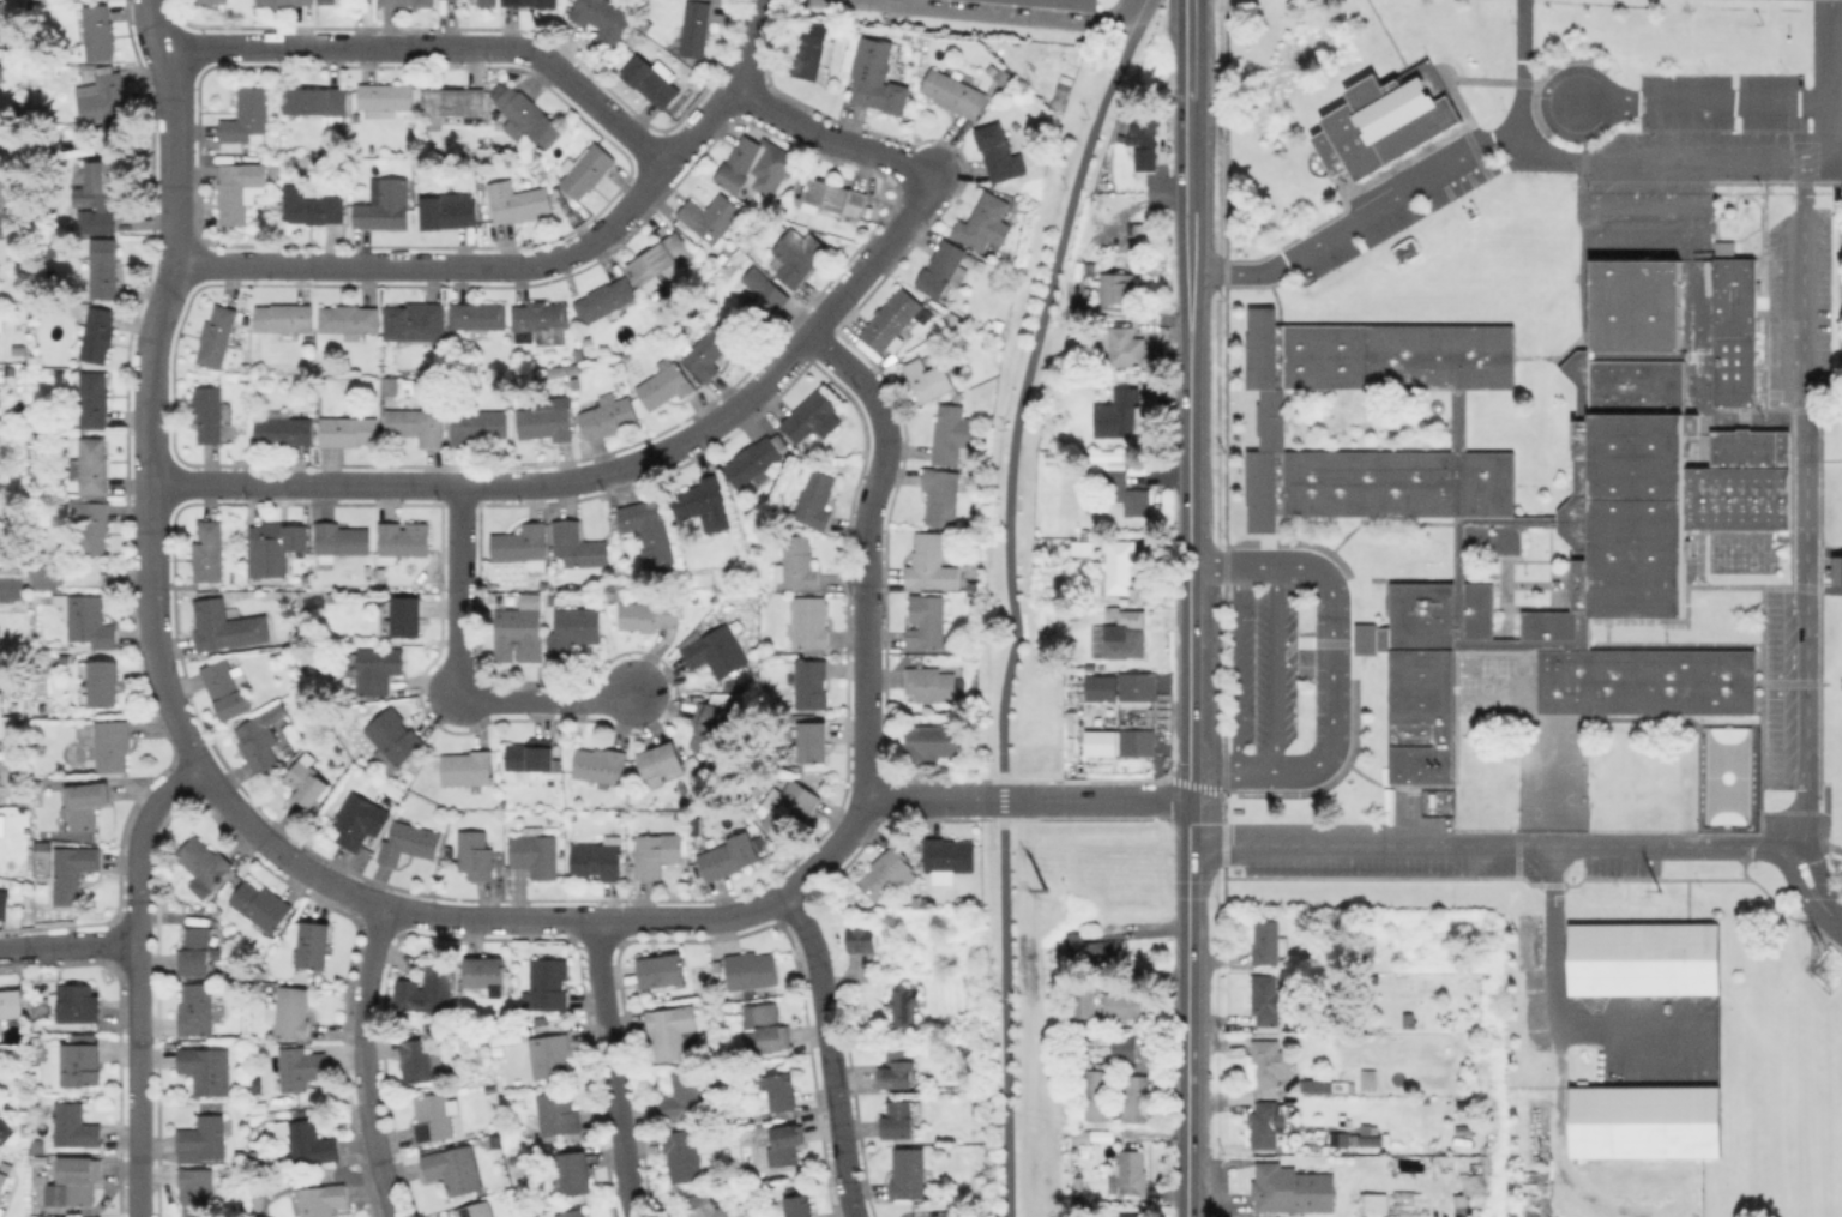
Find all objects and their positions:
building: (327, 0)
building: (212, 1)
building: (285, 2)
building: (407, 2)
building: (488, 2)
building: (531, 2)
building: (1058, 4)
building: (602, 14)
road: (967, 14)
building: (2, 20)
building: (696, 28)
building: (98, 31)
road: (439, 48)
building: (812, 49)
building: (1005, 74)
building: (875, 76)
building: (651, 82)
building: (1061, 92)
building: (953, 94)
building: (386, 96)
road: (1709, 100)
building: (453, 101)
building: (107, 102)
building: (318, 102)
building: (525, 115)
building: (246, 119)
building: (1383, 120)
building: (1142, 128)
road: (826, 138)
building: (999, 153)
road: (1672, 157)
building: (757, 165)
building: (586, 170)
road: (1411, 186)
building: (239, 191)
building: (97, 192)
building: (836, 197)
building: (520, 200)
building: (315, 203)
building: (385, 204)
building: (2, 206)
building: (449, 211)
building: (712, 218)
building: (982, 221)
building: (797, 255)
building: (660, 259)
road: (536, 264)
building: (104, 267)
building: (941, 267)
building: (1118, 288)
building: (606, 300)
building: (758, 300)
building: (1000, 308)
building: (284, 317)
building: (478, 318)
building: (889, 318)
building: (951, 318)
building: (350, 320)
building: (541, 320)
building: (417, 321)
building: (1, 324)
building: (1732, 326)
building: (98, 333)
building: (217, 336)
building: (1126, 347)
building: (709, 350)
building: (18, 353)
building: (579, 359)
building: (931, 379)
road: (151, 380)
road: (1028, 380)
building: (666, 384)
building: (391, 385)
building: (94, 398)
building: (209, 412)
building: (1122, 414)
building: (608, 416)
building: (812, 416)
road: (1800, 417)
building: (417, 423)
building: (476, 423)
building: (546, 423)
building: (284, 428)
building: (348, 430)
building: (952, 434)
building: (758, 460)
building: (94, 466)
road: (604, 472)
building: (1127, 492)
road: (1190, 492)
building: (941, 495)
building: (815, 499)
building: (704, 501)
building: (1619, 519)
building: (91, 522)
building: (651, 535)
building: (339, 540)
building: (403, 540)
building: (523, 546)
building: (578, 546)
building: (1083, 546)
building: (209, 550)
road: (865, 550)
building: (273, 552)
building: (797, 562)
building: (931, 562)
building: (1119, 564)
building: (1836, 570)
building: (42, 576)
building: (109, 577)
road: (11, 588)
road: (458, 590)
building: (331, 600)
building: (694, 602)
building: (650, 614)
building: (407, 615)
building: (86, 619)
building: (926, 621)
building: (809, 622)
building: (225, 626)
building: (520, 629)
building: (574, 629)
building: (295, 638)
building: (1124, 640)
building: (716, 651)
road: (1235, 664)
road: (1274, 664)
road: (1330, 665)
building: (374, 668)
building: (103, 682)
building: (809, 682)
building: (932, 683)
building: (729, 685)
building: (227, 687)
building: (1106, 689)
building: (1142, 689)
road: (546, 700)
building: (6, 721)
building: (709, 727)
building: (263, 737)
building: (393, 737)
building: (812, 740)
building: (931, 741)
building: (1103, 743)
building: (1142, 743)
building: (112, 745)
building: (529, 757)
building: (660, 760)
building: (601, 764)
building: (466, 767)
road: (1096, 779)
building: (306, 783)
road: (1004, 799)
building: (84, 803)
building: (790, 808)
building: (360, 820)
building: (0, 823)
building: (409, 842)
road: (1539, 844)
road: (1837, 849)
building: (535, 851)
building: (657, 852)
building: (475, 854)
building: (947, 854)
building: (728, 856)
building: (206, 861)
building: (596, 861)
building: (73, 870)
building: (886, 872)
road: (1476, 876)
power tower: (1633, 886)
power tower: (1042, 887)
building: (915, 900)
building: (931, 902)
building: (4, 903)
building: (261, 905)
road: (693, 920)
building: (1268, 941)
road: (68, 944)
building: (314, 944)
building: (1095, 948)
building: (195, 950)
building: (1641, 958)
building: (662, 969)
building: (751, 969)
building: (486, 972)
power tower: (1834, 972)
road: (138, 976)
building: (547, 984)
building: (427, 990)
road: (1551, 990)
building: (1265, 999)
building: (78, 1001)
building: (11, 1002)
building: (1084, 1004)
building: (902, 1005)
building: (1127, 1007)
building: (197, 1008)
building: (290, 1012)
road: (1006, 1018)
building: (1409, 1019)
building: (769, 1026)
building: (670, 1030)
building: (506, 1037)
road: (829, 1050)
building: (549, 1055)
building: (417, 1059)
building: (82, 1061)
building: (1265, 1061)
road: (361, 1064)
building: (301, 1067)
building: (207, 1068)
building: (897, 1068)
road: (612, 1070)
building: (1365, 1079)
building: (1314, 1085)
building: (782, 1090)
building: (686, 1095)
building: (1095, 1095)
building: (1132, 1097)
road: (1187, 1101)
building: (25, 1108)
building: (558, 1113)
building: (763, 1115)
building: (433, 1116)
building: (898, 1119)
building: (1642, 1120)
building: (760, 1125)
building: (1265, 1125)
building: (74, 1126)
building: (25, 1128)
building: (5, 1131)
building: (203, 1137)
building: (1083, 1138)
building: (1393, 1138)
building: (1337, 1139)
building: (311, 1141)
building: (785, 1143)
building: (38, 1145)
building: (682, 1153)
building: (242, 1156)
building: (259, 1156)
building: (41, 1158)
building: (516, 1158)
building: (455, 1168)
building: (1132, 1171)
building: (573, 1173)
building: (908, 1173)
building: (4, 1175)
building: (1479, 1180)
building: (77, 1181)
building: (1290, 1188)
building: (197, 1192)
building: (321, 1199)
building: (1374, 1204)
building: (257, 1205)
building: (704, 1205)
building: (799, 1205)
building: (475, 1210)
building: (571, 1212)
building: (1132, 1215)
building: (94, 1216)

